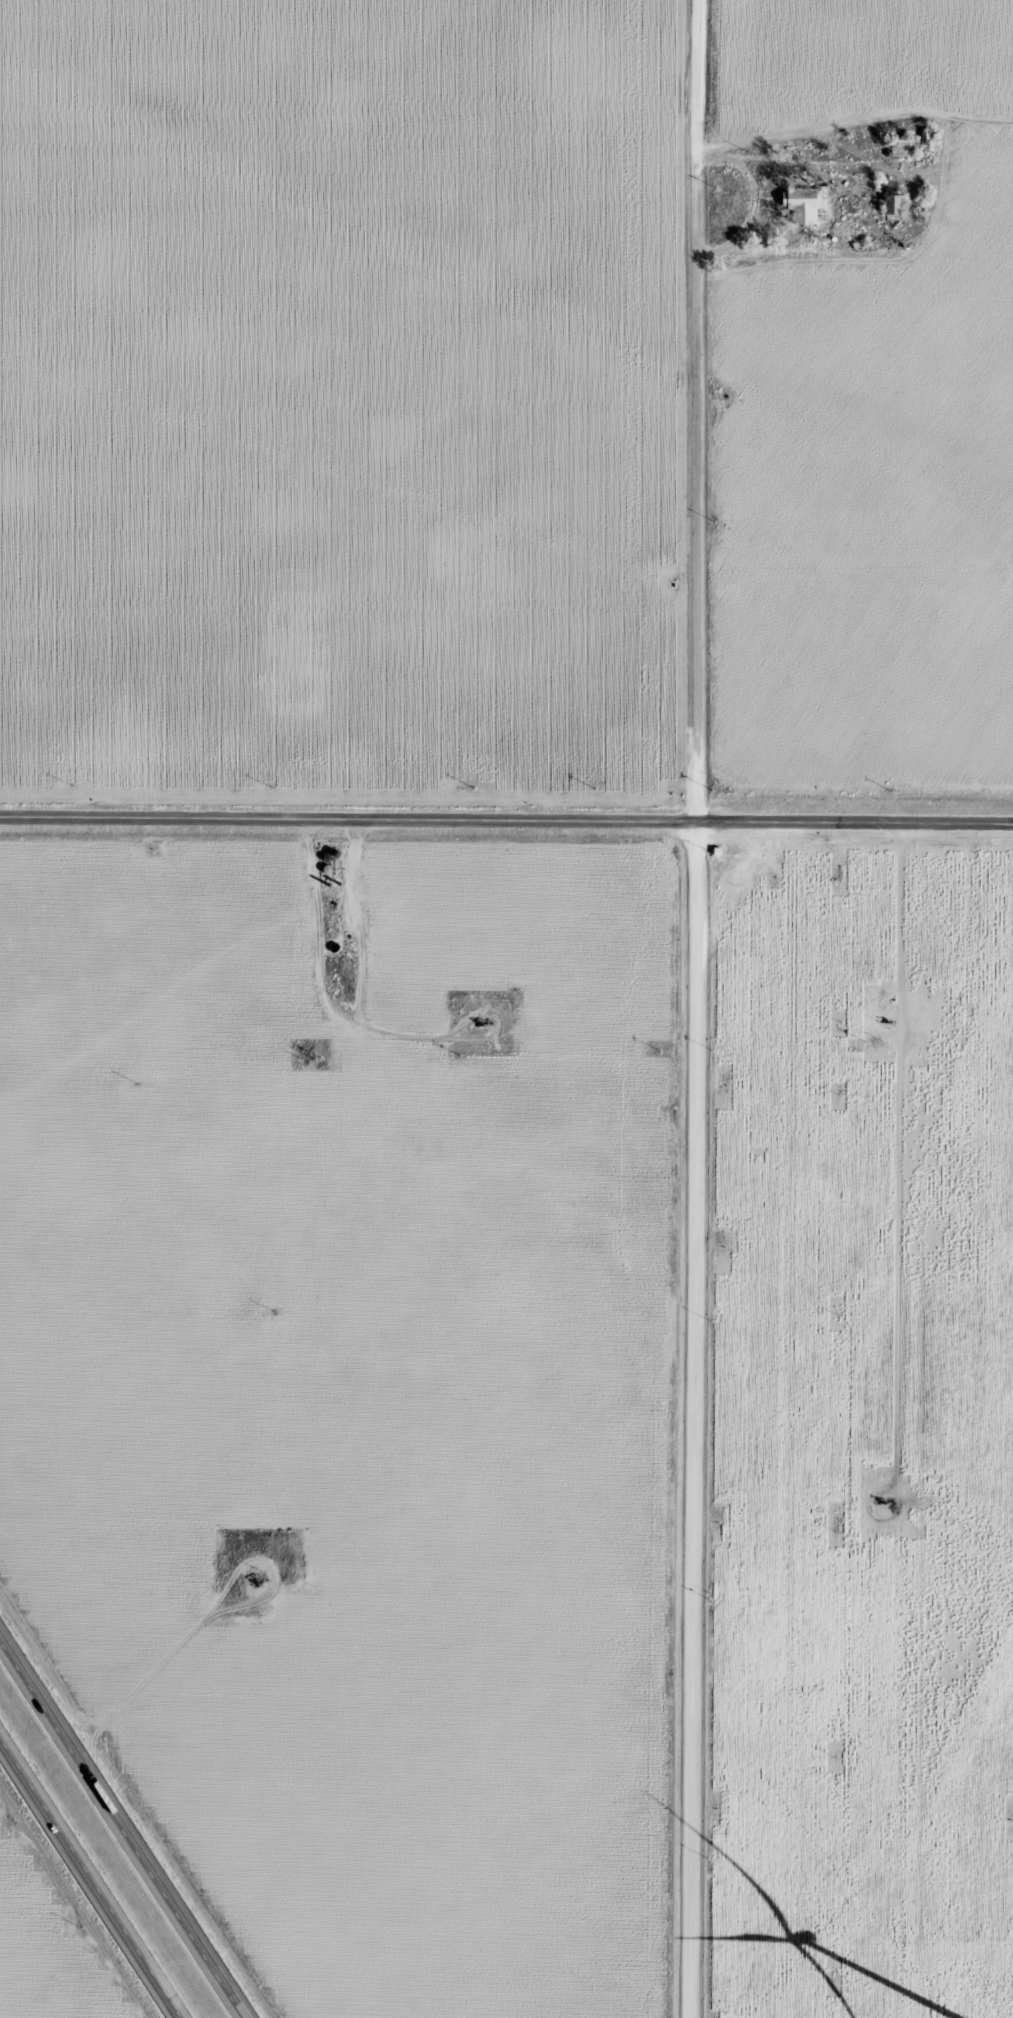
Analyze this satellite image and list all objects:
building: (891, 206)
road: (506, 819)
road: (699, 1008)
road: (118, 1835)
road: (88, 1881)

